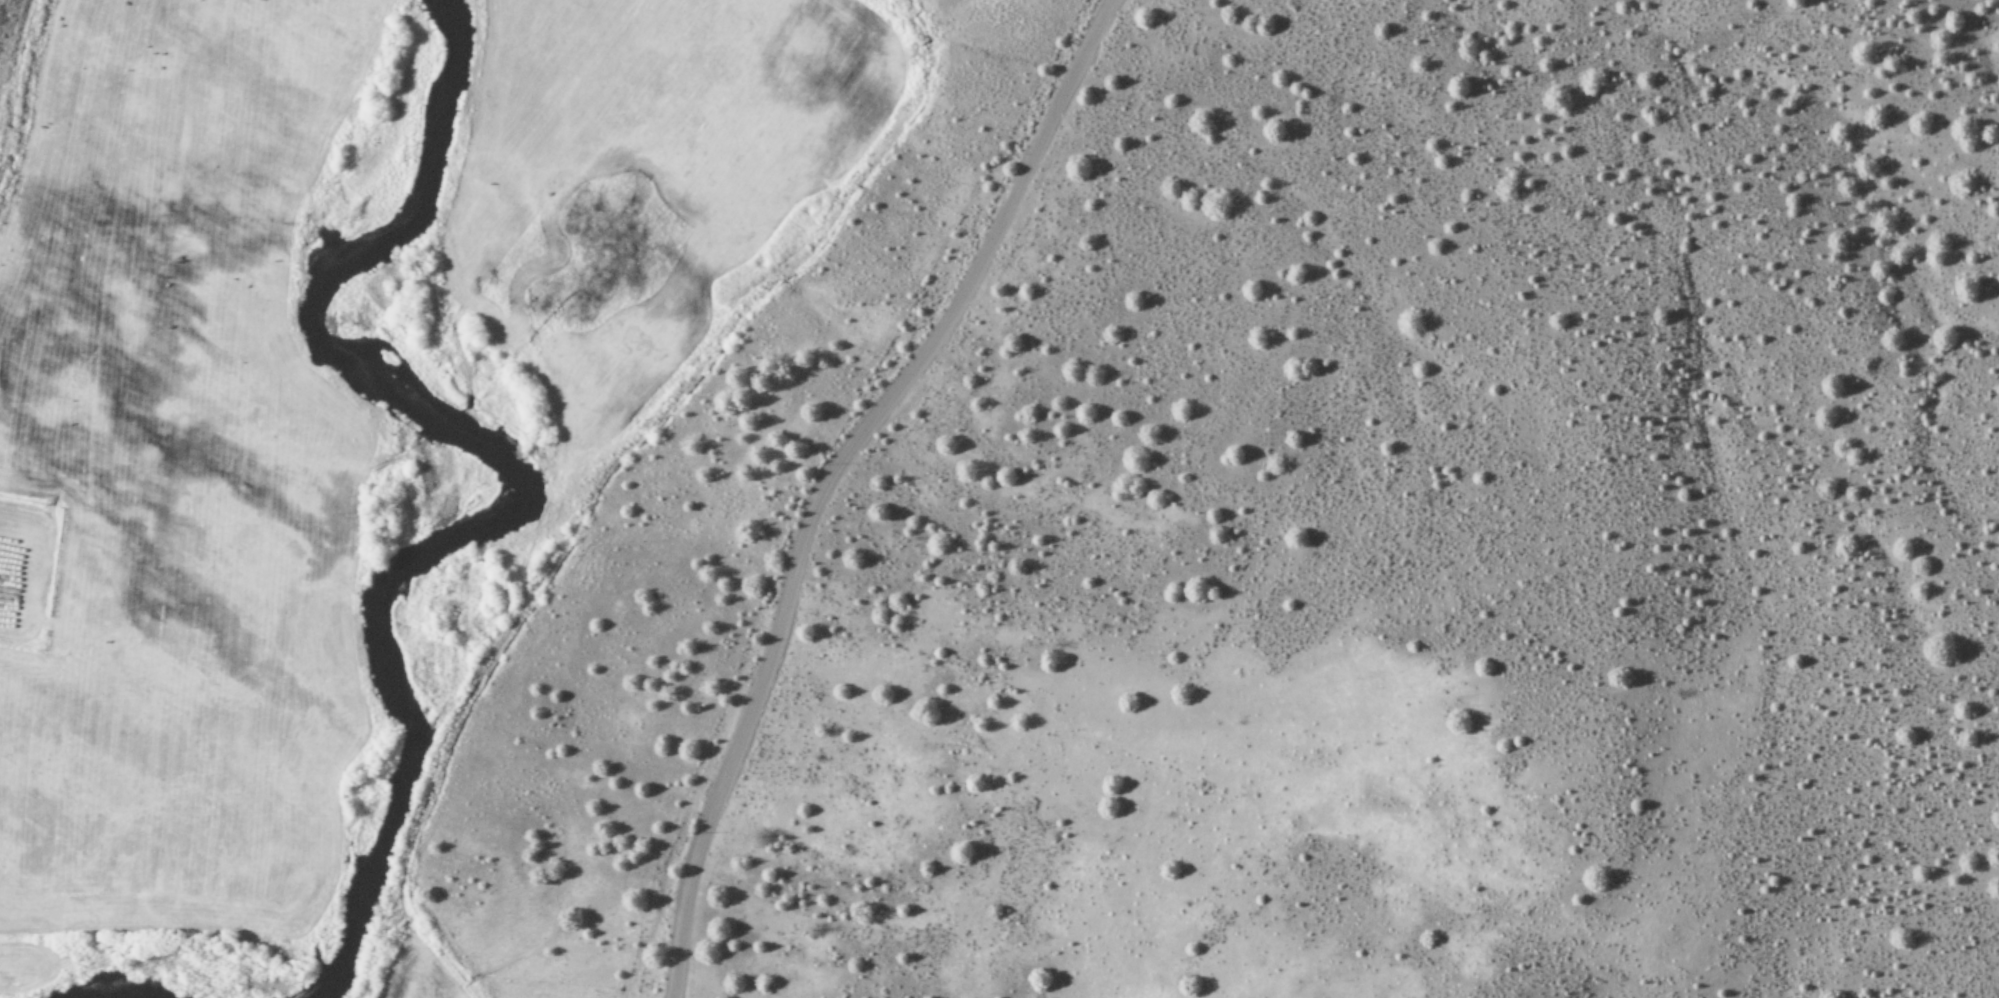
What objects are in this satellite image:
river: (477, 469)
road: (841, 473)
river: (151, 972)

